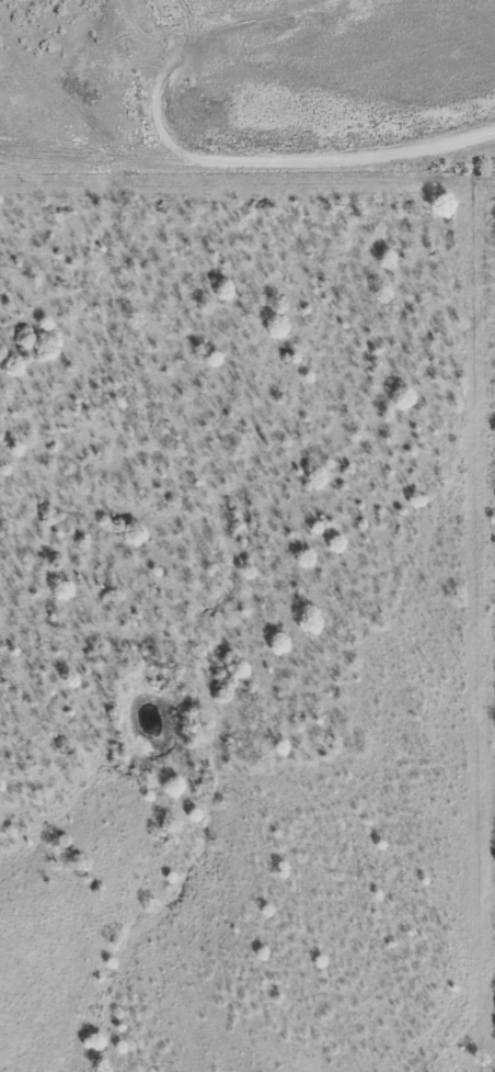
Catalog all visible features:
road: (346, 157)

